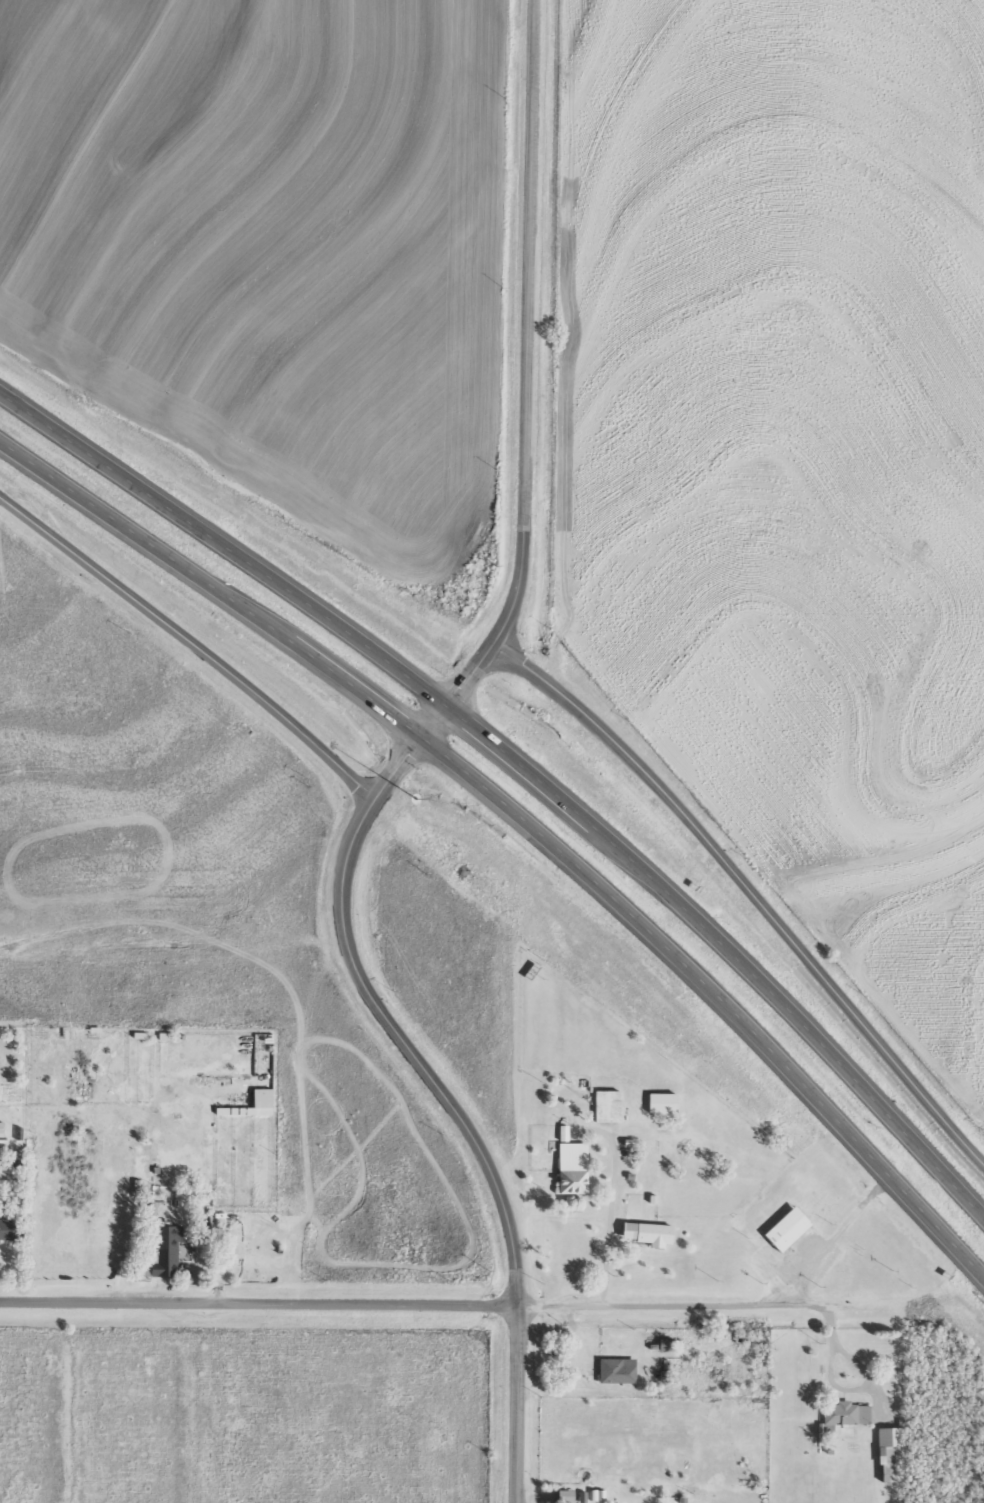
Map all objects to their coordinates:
road: (529, 361)
road: (226, 545)
road: (215, 583)
road: (192, 642)
road: (751, 893)
road: (729, 945)
road: (716, 991)
road: (377, 1006)
building: (266, 1098)
building: (666, 1104)
building: (610, 1106)
building: (575, 1165)
building: (6, 1174)
road: (609, 1225)
building: (8, 1229)
building: (791, 1229)
building: (653, 1234)
building: (169, 1252)
road: (258, 1301)
road: (671, 1308)
building: (620, 1371)
road: (516, 1405)
building: (849, 1412)
building: (894, 1453)

